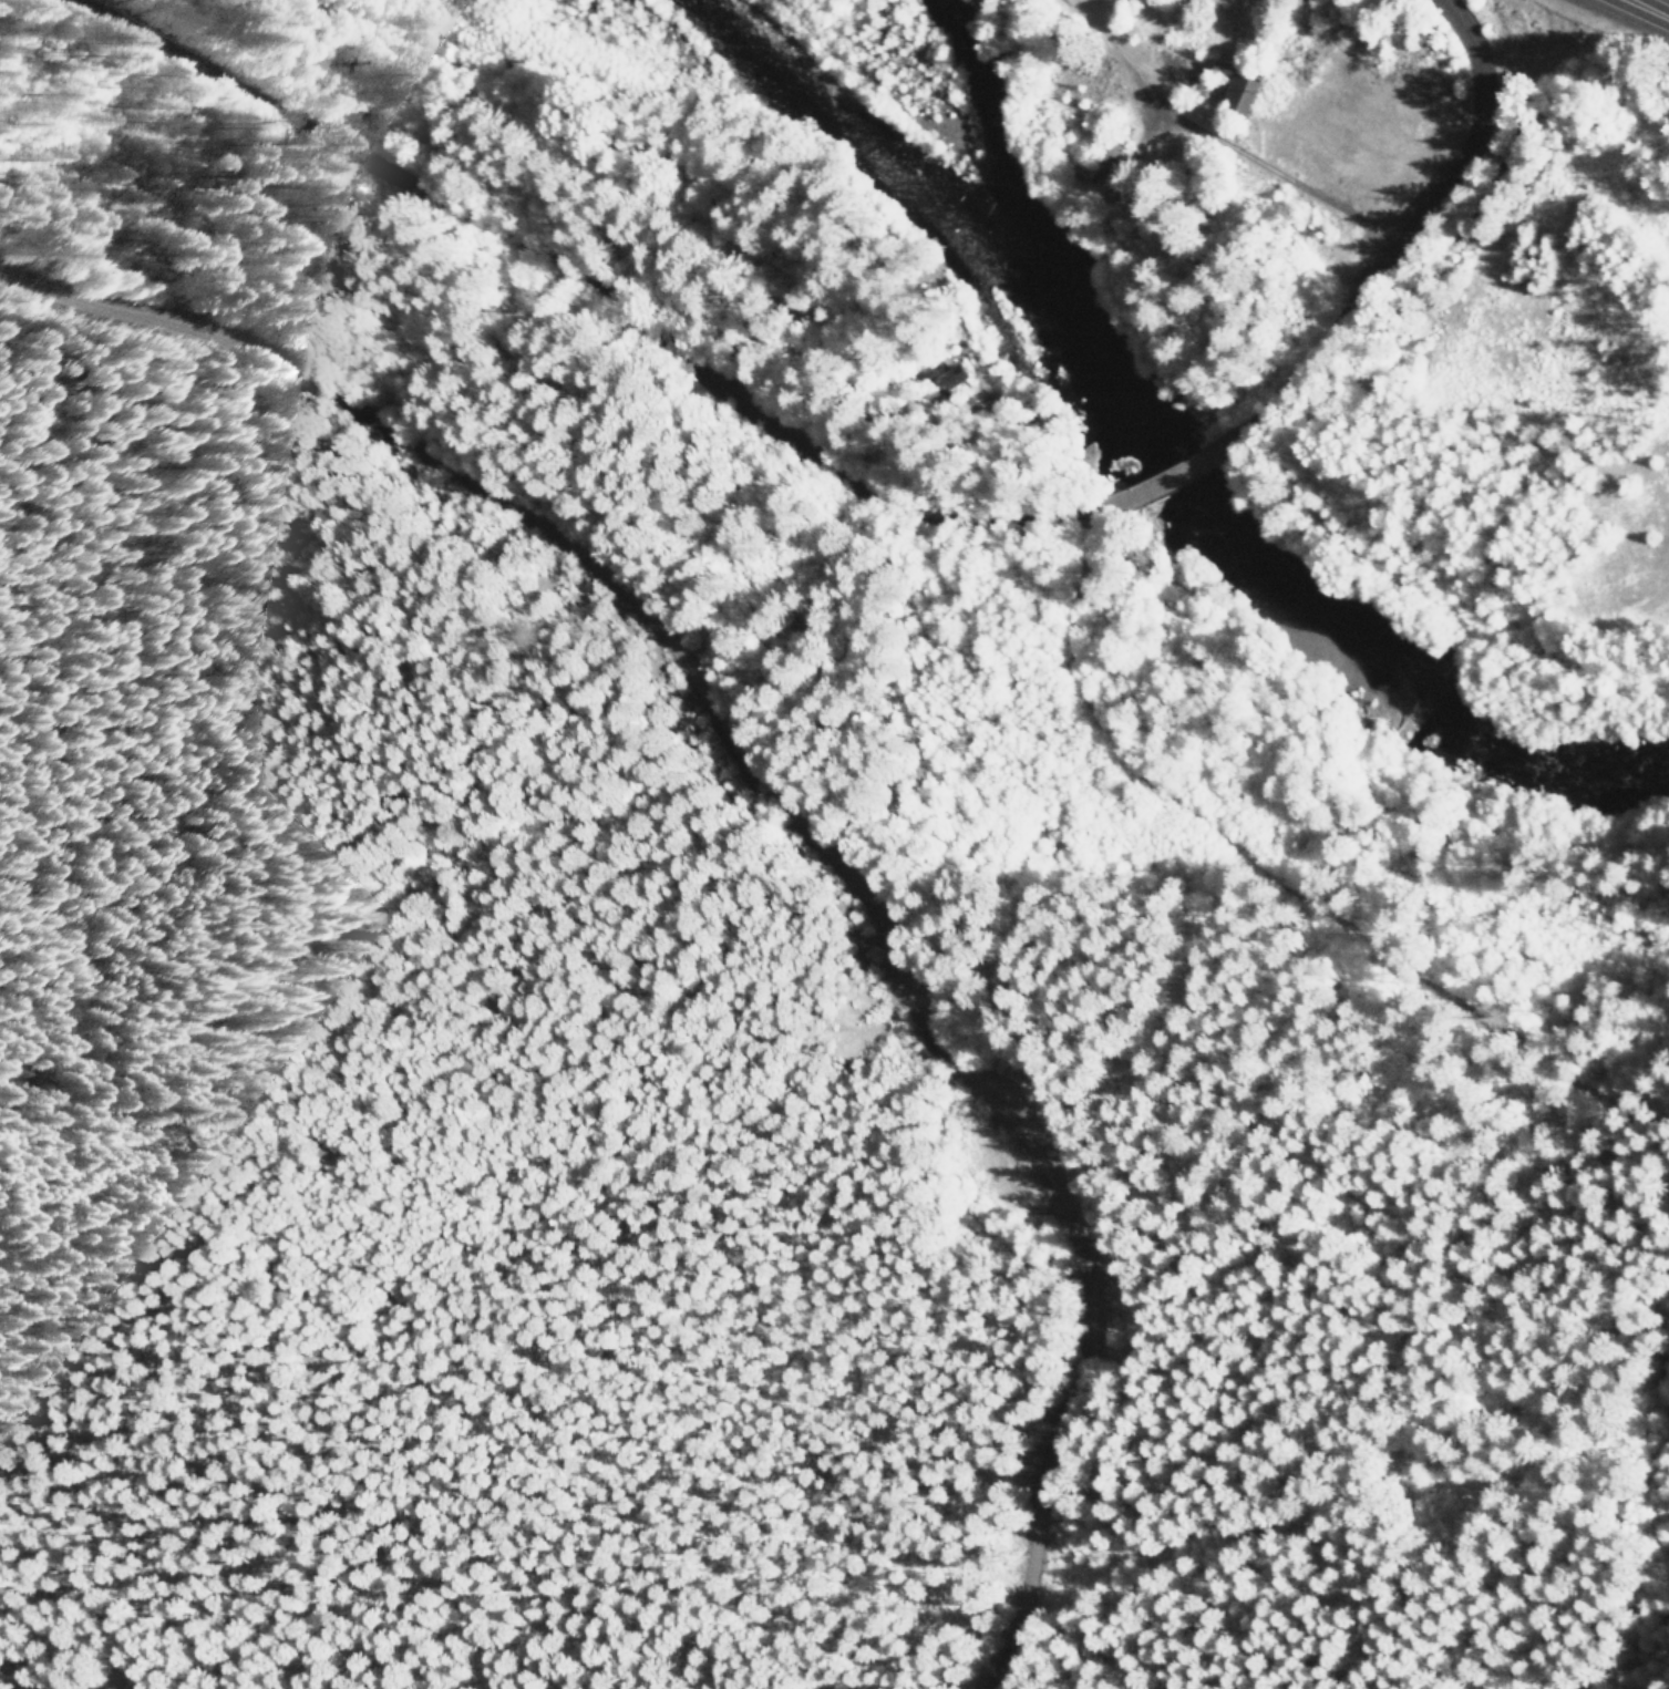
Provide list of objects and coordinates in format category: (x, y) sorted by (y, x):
road: (1641, 12)
building: (1235, 92)
river: (987, 137)
road: (1412, 229)
road: (578, 306)
river: (1147, 450)
road: (1186, 475)
road: (1572, 598)
road: (845, 761)

